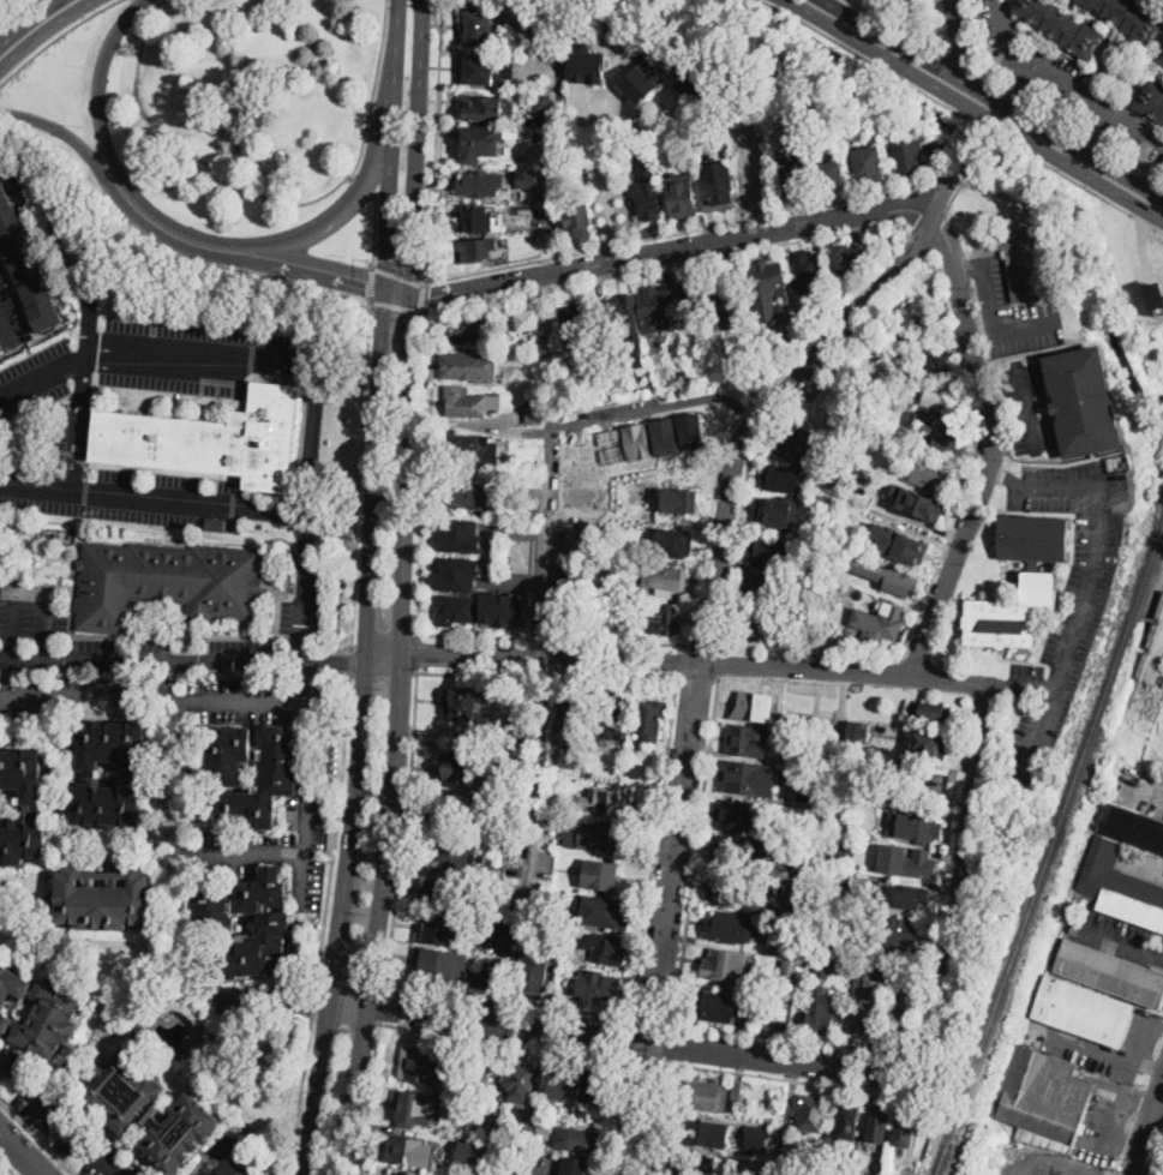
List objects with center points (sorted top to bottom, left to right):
road: (48, 5)
road: (139, 6)
road: (134, 7)
road: (146, 13)
building: (1131, 19)
road: (29, 22)
building: (479, 25)
road: (897, 26)
building: (1062, 26)
road: (143, 29)
road: (43, 30)
road: (55, 38)
road: (964, 44)
road: (863, 55)
building: (1159, 58)
building: (588, 65)
road: (961, 65)
road: (395, 70)
building: (482, 70)
building: (642, 82)
road: (1065, 83)
road: (373, 91)
building: (691, 96)
road: (991, 98)
building: (1152, 101)
building: (544, 103)
building: (484, 109)
road: (975, 109)
road: (981, 125)
road: (1072, 130)
road: (434, 142)
building: (481, 144)
road: (416, 149)
road: (196, 154)
building: (909, 158)
building: (869, 163)
road: (116, 167)
road: (98, 169)
road: (557, 169)
road: (601, 173)
road: (970, 174)
building: (831, 175)
building: (755, 176)
building: (791, 179)
building: (527, 180)
building: (481, 184)
road: (1079, 184)
road: (362, 185)
building: (720, 190)
road: (324, 193)
building: (682, 196)
building: (646, 199)
building: (524, 210)
road: (336, 214)
road: (388, 215)
building: (475, 220)
building: (580, 221)
road: (374, 229)
road: (936, 232)
road: (681, 233)
road: (707, 244)
road: (70, 245)
building: (476, 250)
road: (227, 257)
traffic signals: (386, 258)
road: (318, 259)
building: (841, 262)
building: (1026, 263)
building: (26, 265)
road: (671, 266)
road: (971, 266)
building: (809, 274)
road: (397, 275)
road: (325, 277)
building: (767, 277)
road: (397, 282)
road: (372, 283)
building: (727, 286)
traffic signals: (367, 288)
road: (445, 288)
traffic signals: (428, 292)
road: (397, 295)
road: (421, 295)
building: (699, 295)
building: (1156, 295)
road: (446, 299)
road: (395, 306)
building: (657, 307)
parking lot: (1012, 311)
building: (623, 314)
parking lot: (11, 316)
building: (729, 316)
traffic signals: (409, 318)
building: (915, 318)
building: (527, 322)
building: (576, 325)
road: (995, 326)
road: (5, 332)
building: (474, 332)
building: (532, 344)
parking lot: (202, 355)
road: (222, 355)
building: (736, 356)
building: (935, 358)
building: (469, 365)
building: (910, 371)
building: (684, 374)
parking lot: (35, 378)
road: (548, 400)
building: (933, 400)
building: (469, 402)
building: (1083, 402)
road: (657, 404)
road: (1027, 404)
parking lot: (1027, 407)
road: (744, 410)
building: (534, 415)
building: (928, 415)
road: (1006, 418)
road: (80, 420)
road: (775, 426)
parking lot: (70, 430)
building: (693, 430)
building: (666, 434)
building: (211, 438)
building: (801, 443)
building: (947, 444)
road: (987, 446)
building: (468, 448)
road: (424, 469)
building: (935, 478)
road: (1008, 478)
building: (783, 479)
road: (359, 481)
building: (455, 493)
parking lot: (115, 494)
road: (151, 496)
building: (679, 499)
building: (918, 502)
building: (778, 511)
road: (337, 517)
road: (431, 520)
building: (216, 524)
road: (490, 524)
building: (37, 529)
building: (461, 530)
building: (1033, 538)
building: (582, 539)
building: (899, 542)
building: (673, 544)
road: (432, 545)
building: (769, 548)
building: (10, 550)
road: (431, 558)
building: (574, 564)
building: (458, 570)
building: (599, 570)
road: (935, 572)
building: (813, 575)
building: (665, 580)
building: (898, 582)
road: (428, 583)
building: (166, 584)
road: (306, 586)
road: (34, 587)
building: (771, 587)
road: (1085, 594)
parking lot: (1066, 600)
building: (562, 601)
building: (595, 603)
road: (712, 604)
building: (504, 605)
building: (455, 606)
road: (428, 607)
building: (1011, 615)
building: (663, 618)
road: (538, 621)
building: (879, 622)
building: (760, 623)
road: (506, 630)
road: (556, 640)
road: (0, 647)
road: (708, 649)
road: (416, 652)
road: (349, 658)
road: (182, 659)
railway: (1144, 659)
road: (675, 660)
road: (688, 663)
road: (721, 664)
road: (548, 677)
road: (700, 679)
road: (1018, 687)
parking lot: (254, 699)
road: (246, 706)
building: (461, 706)
building: (755, 706)
building: (939, 706)
building: (612, 715)
building: (570, 719)
building: (651, 719)
building: (947, 723)
building: (858, 730)
building: (518, 731)
road: (360, 735)
road: (396, 738)
building: (748, 741)
building: (936, 747)
building: (893, 751)
building: (569, 759)
building: (458, 766)
building: (821, 766)
building: (252, 768)
building: (633, 769)
building: (112, 773)
building: (591, 775)
building: (745, 778)
building: (923, 781)
parking lot: (1139, 789)
road: (1145, 796)
building: (844, 797)
building: (611, 802)
building: (22, 805)
road: (918, 808)
building: (733, 815)
road: (172, 825)
building: (1132, 826)
road: (408, 827)
building: (918, 828)
road: (953, 828)
road: (337, 831)
building: (587, 835)
road: (529, 840)
building: (843, 843)
parking lot: (278, 846)
building: (733, 850)
railway: (1049, 851)
road: (188, 852)
road: (287, 853)
building: (452, 855)
road: (945, 855)
building: (906, 859)
road: (821, 864)
building: (601, 875)
building: (802, 875)
building: (841, 879)
road: (957, 879)
road: (925, 882)
road: (945, 883)
building: (482, 886)
building: (1119, 887)
road: (302, 888)
building: (733, 889)
building: (796, 891)
building: (444, 893)
building: (903, 894)
building: (106, 897)
building: (539, 912)
building: (606, 912)
building: (491, 921)
road: (23, 923)
building: (246, 923)
building: (442, 928)
building: (729, 929)
building: (891, 930)
building: (558, 931)
building: (496, 935)
building: (838, 935)
parking lot: (1120, 936)
road: (1121, 941)
building: (605, 948)
building: (786, 949)
road: (915, 951)
building: (498, 961)
building: (827, 965)
road: (678, 966)
building: (725, 966)
building: (438, 967)
building: (790, 967)
building: (881, 972)
building: (1111, 972)
road: (639, 973)
building: (533, 978)
building: (821, 979)
building: (598, 987)
road: (382, 1002)
building: (717, 1006)
building: (862, 1008)
building: (1083, 1011)
building: (37, 1012)
building: (905, 1015)
building: (820, 1017)
road: (652, 1023)
building: (783, 1026)
building: (140, 1032)
road: (631, 1038)
road: (630, 1039)
road: (669, 1044)
parking lot: (1071, 1045)
road: (1085, 1047)
road: (1139, 1047)
road: (560, 1049)
road: (647, 1060)
building: (418, 1063)
road: (5, 1066)
building: (482, 1068)
road: (742, 1073)
road: (305, 1081)
building: (520, 1084)
building: (556, 1084)
building: (597, 1085)
building: (737, 1090)
building: (705, 1093)
road: (368, 1096)
road: (496, 1098)
building: (1043, 1098)
building: (418, 1110)
building: (151, 1111)
building: (813, 1114)
building: (583, 1115)
road: (786, 1117)
road: (65, 1120)
building: (849, 1120)
building: (879, 1123)
building: (546, 1127)
building: (904, 1128)
building: (703, 1133)
road: (1147, 1133)
road: (36, 1137)
building: (527, 1137)
building: (756, 1138)
building: (583, 1140)
building: (474, 1146)
building: (410, 1150)
road: (23, 1152)
building: (466, 1153)
parking lot: (228, 1156)
road: (233, 1157)
building: (819, 1159)
road: (1050, 1163)
building: (691, 1164)
building: (574, 1165)
building: (753, 1165)
road: (6, 1168)
building: (514, 1169)
park: (4, 1170)
building: (406, 1173)
road: (539, 1174)

